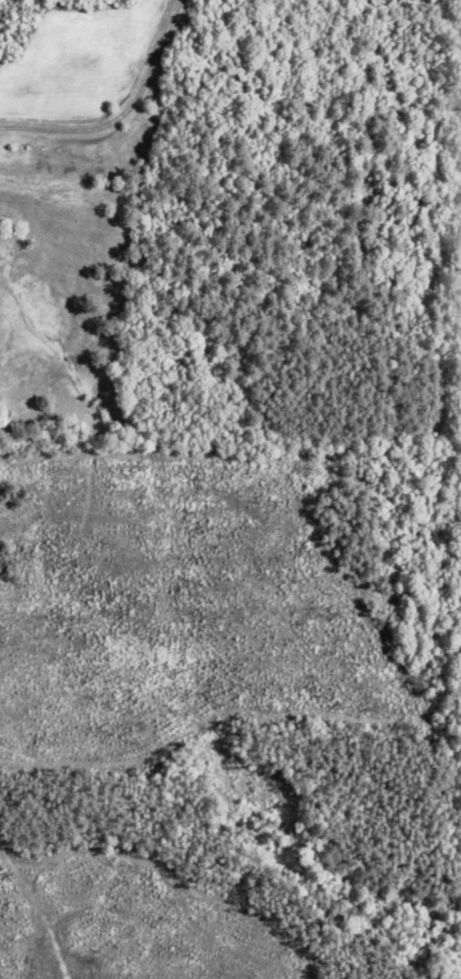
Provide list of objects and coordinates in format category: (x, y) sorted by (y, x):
road: (120, 113)

